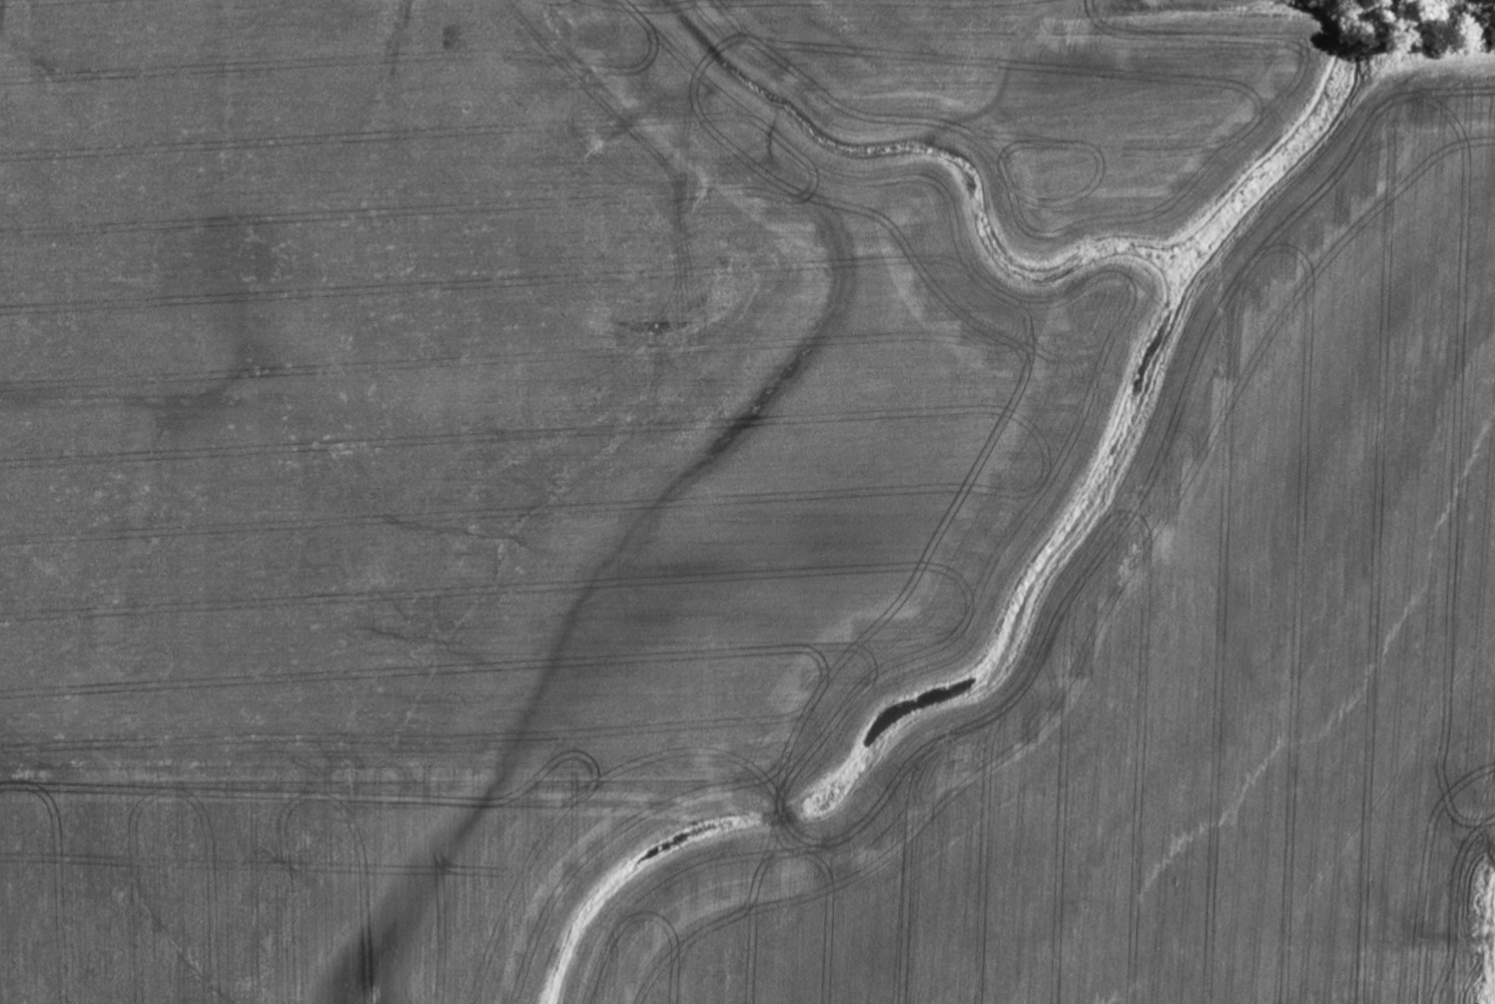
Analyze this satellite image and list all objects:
road: (899, 751)

